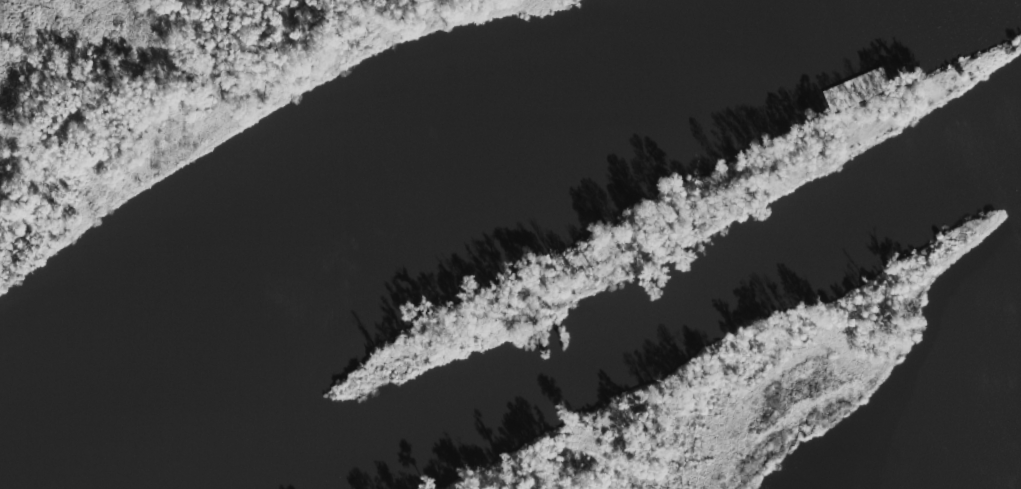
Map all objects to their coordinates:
river: (535, 260)

